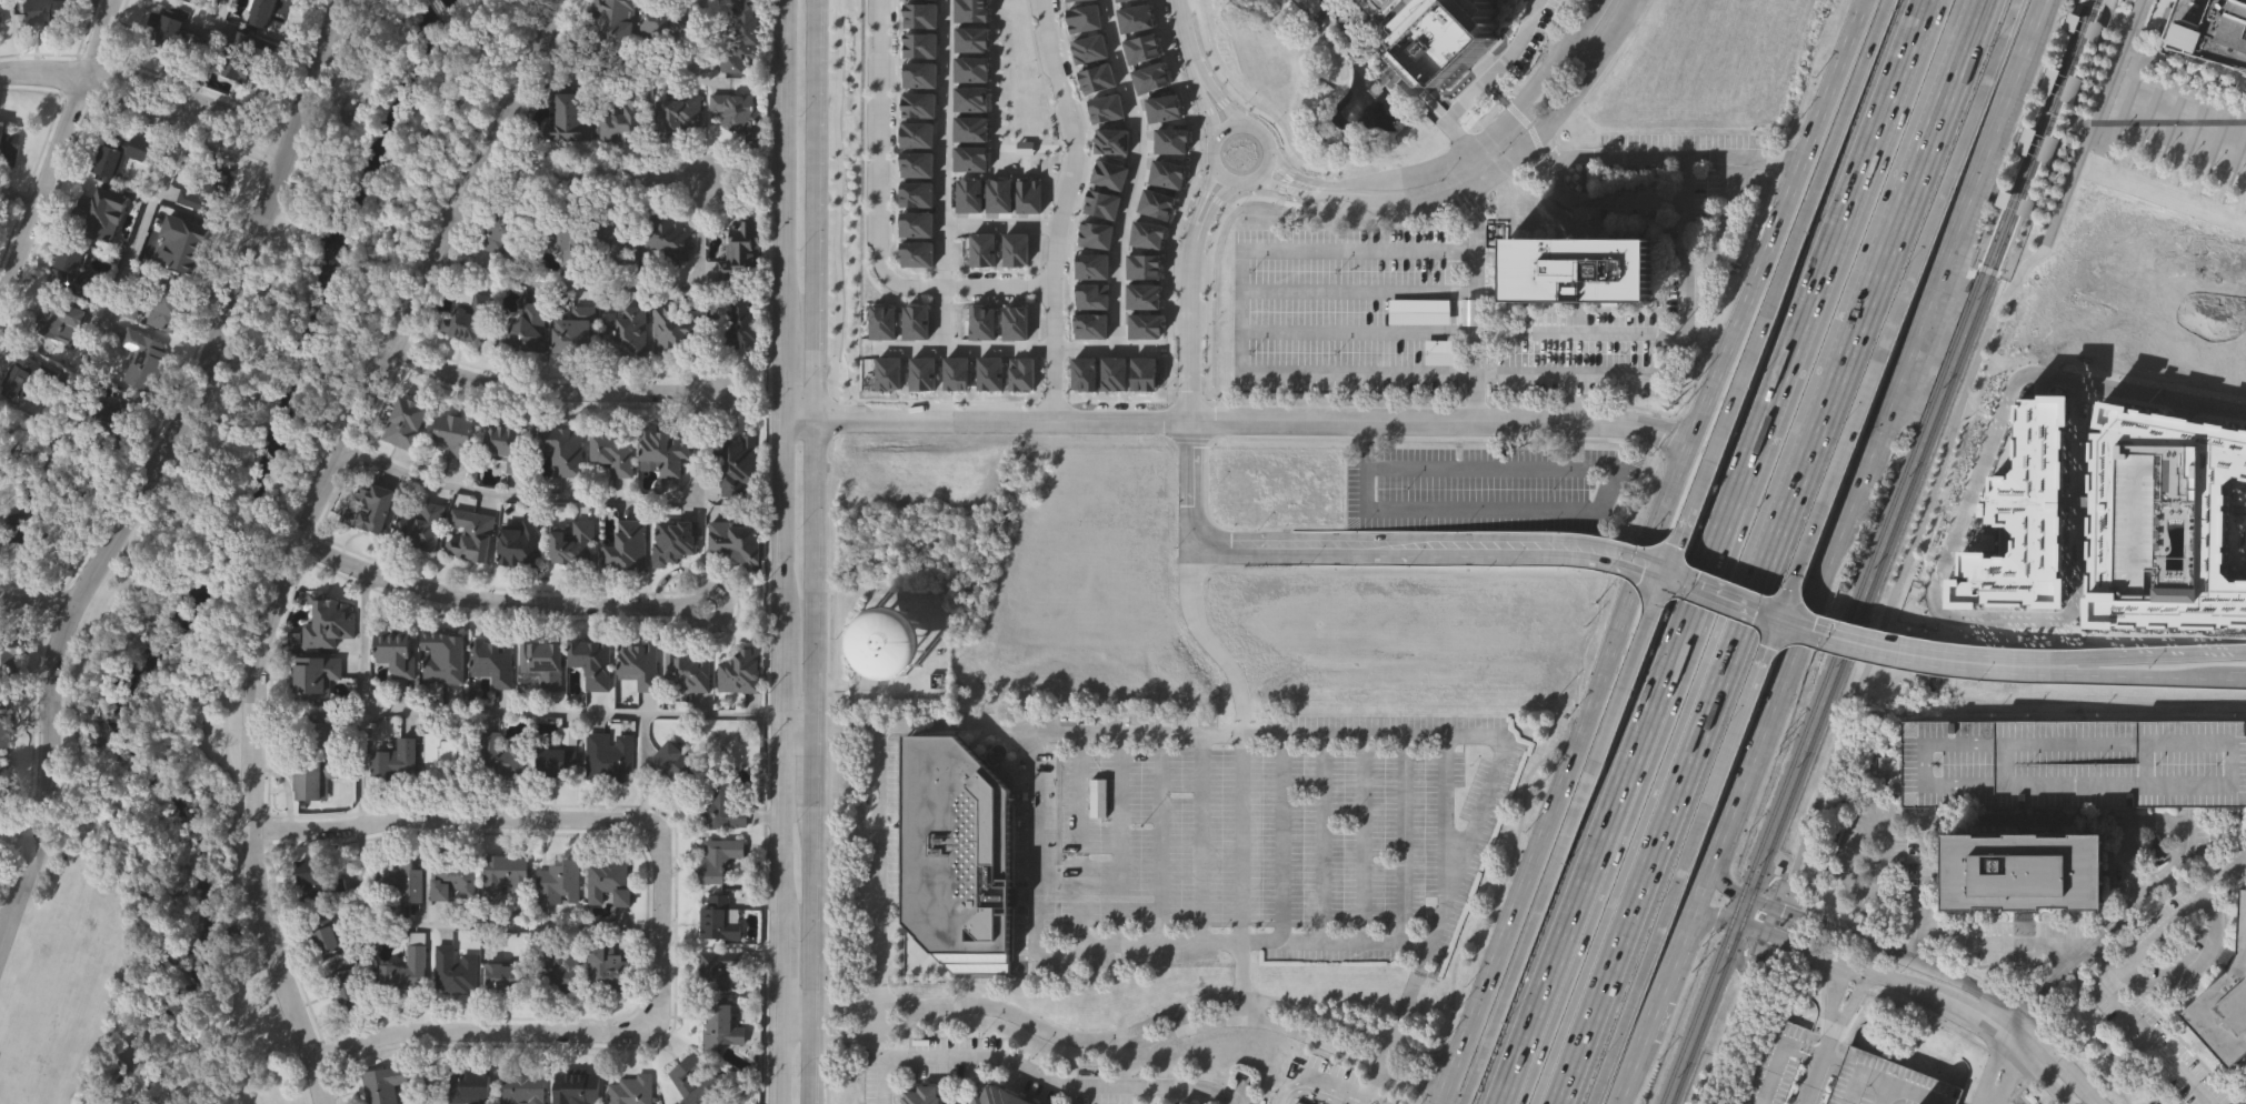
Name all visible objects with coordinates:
road: (436, 2)
building: (1375, 4)
parking garage: (1375, 4)
railway: (2066, 9)
building: (971, 10)
building: (43, 12)
building: (259, 12)
building: (920, 16)
building: (1082, 17)
railway: (2089, 20)
building: (616, 21)
building: (661, 22)
building: (0, 26)
building: (2210, 28)
building: (166, 30)
road: (455, 32)
building: (741, 36)
building: (1443, 36)
building: (972, 40)
road: (1189, 40)
building: (920, 46)
building: (1090, 49)
building: (244, 52)
road: (648, 64)
building: (971, 68)
road: (39, 70)
building: (919, 76)
road: (343, 78)
building: (1097, 79)
road: (1834, 79)
building: (2060, 86)
road: (1476, 89)
road: (186, 93)
building: (970, 98)
railway: (2048, 99)
building: (918, 103)
road: (1226, 103)
building: (1106, 108)
building: (572, 111)
road: (1211, 111)
building: (678, 113)
building: (740, 113)
road: (448, 117)
building: (622, 118)
road: (177, 119)
road: (2169, 121)
building: (970, 127)
building: (916, 133)
road: (1222, 133)
road: (1268, 139)
building: (8, 141)
road: (52, 141)
road: (880, 141)
building: (1111, 141)
road: (1080, 142)
road: (1548, 144)
building: (2038, 145)
building: (119, 149)
road: (1640, 153)
road: (1773, 154)
road: (1464, 155)
building: (970, 158)
building: (916, 162)
road: (944, 172)
road: (1139, 172)
road: (1225, 172)
road: (1483, 175)
road: (595, 179)
building: (915, 191)
building: (998, 194)
building: (1028, 195)
road: (16, 197)
building: (1102, 203)
building: (1156, 203)
building: (98, 205)
road: (787, 209)
road: (1929, 220)
railway: (2030, 220)
railway: (2030, 220)
road: (1002, 221)
building: (915, 222)
road: (1199, 224)
building: (508, 228)
building: (567, 233)
building: (1147, 233)
building: (615, 234)
building: (668, 235)
building: (741, 247)
building: (172, 249)
building: (981, 249)
building: (1016, 249)
road: (129, 253)
building: (916, 253)
road: (1475, 255)
road: (1786, 257)
building: (1142, 264)
building: (1092, 267)
building: (71, 270)
building: (1578, 274)
road: (617, 285)
road: (1819, 285)
road: (975, 287)
road: (1868, 289)
building: (1092, 295)
building: (1142, 295)
road: (1748, 299)
building: (164, 303)
road: (1244, 309)
parking lot: (1348, 312)
building: (1473, 315)
building: (469, 317)
building: (57, 319)
building: (881, 321)
building: (915, 322)
building: (1015, 322)
building: (981, 323)
road: (1190, 323)
building: (739, 328)
building: (671, 329)
building: (522, 330)
building: (573, 332)
road: (1576, 333)
road: (2223, 333)
building: (627, 334)
road: (1011, 347)
road: (1056, 353)
building: (141, 357)
parking lot: (1575, 367)
building: (888, 373)
building: (921, 373)
building: (956, 373)
building: (989, 373)
road: (1591, 374)
building: (1021, 375)
road: (1476, 375)
building: (20, 379)
road: (543, 391)
road: (2160, 398)
building: (119, 412)
road: (1586, 419)
road: (1129, 420)
building: (407, 422)
road: (1878, 428)
building: (453, 438)
building: (3, 439)
building: (508, 449)
building: (561, 452)
building: (610, 452)
building: (660, 453)
road: (157, 465)
building: (735, 465)
parking lot: (1487, 486)
road: (567, 499)
building: (370, 506)
road: (1591, 513)
road: (1191, 525)
building: (420, 528)
road: (1807, 529)
road: (298, 530)
building: (24, 534)
building: (736, 535)
building: (472, 536)
building: (676, 539)
building: (522, 540)
road: (267, 542)
building: (575, 542)
building: (628, 543)
road: (1674, 544)
road: (1477, 548)
road: (1910, 550)
road: (812, 551)
railway: (1876, 571)
traffic signals: (1663, 574)
park: (230, 591)
road: (1718, 595)
road: (37, 599)
road: (493, 600)
road: (1959, 605)
traffic signals: (1774, 618)
building: (327, 624)
building: (890, 643)
water tower: (890, 644)
railway: (1835, 650)
building: (395, 653)
building: (442, 653)
road: (1760, 653)
road: (1909, 655)
road: (2147, 655)
building: (8, 659)
building: (491, 660)
building: (591, 661)
building: (638, 661)
building: (542, 662)
street lamp: (2148, 665)
building: (738, 669)
building: (688, 672)
building: (315, 676)
road: (2137, 676)
road: (2236, 678)
road: (362, 699)
road: (587, 712)
road: (926, 721)
building: (321, 726)
building: (4, 727)
road: (1134, 734)
road: (1476, 735)
building: (442, 751)
building: (501, 755)
building: (556, 756)
building: (393, 757)
building: (609, 757)
road: (781, 760)
building: (2074, 761)
parking garage: (2074, 761)
building: (673, 762)
road: (1232, 766)
building: (0, 769)
road: (642, 769)
road: (1567, 772)
building: (311, 777)
building: (723, 799)
road: (1903, 819)
road: (1437, 829)
parking lot: (1265, 834)
road: (1564, 834)
road: (1606, 836)
road: (1635, 836)
road: (1114, 839)
road: (1154, 839)
road: (1194, 839)
road: (1315, 839)
road: (1356, 839)
road: (1396, 839)
road: (1620, 839)
road: (1275, 840)
road: (1658, 842)
road: (1075, 843)
road: (13, 847)
building: (954, 852)
building: (719, 860)
road: (1925, 865)
road: (875, 867)
building: (2024, 869)
building: (451, 875)
building: (505, 875)
building: (316, 879)
building: (403, 879)
building: (558, 880)
building: (609, 880)
road: (2153, 882)
road: (1669, 896)
road: (659, 900)
building: (721, 915)
road: (2174, 920)
road: (467, 923)
building: (325, 931)
road: (1983, 943)
road: (1126, 944)
road: (1819, 954)
road: (2187, 961)
road: (1916, 962)
building: (721, 965)
building: (453, 970)
building: (556, 970)
building: (405, 971)
building: (607, 971)
road: (1853, 971)
road: (1973, 971)
building: (512, 975)
road: (2104, 977)
road: (1666, 980)
building: (349, 987)
road: (1831, 991)
building: (2225, 996)
road: (1849, 1000)
road: (1289, 1004)
road: (1397, 1005)
road: (1907, 1005)
road: (916, 1011)
road: (797, 1012)
road: (1979, 1016)
building: (721, 1023)
road: (1289, 1028)
road: (1069, 1041)
road: (1815, 1062)
road: (422, 1066)
road: (2045, 1067)
road: (1997, 1071)
road: (1038, 1077)
building: (697, 1080)
road: (2137, 1080)
building: (383, 1083)
road: (1885, 1083)
building: (1887, 1083)
road: (1368, 1084)
building: (467, 1085)
building: (523, 1086)
building: (577, 1086)
road: (1311, 1087)
building: (631, 1088)
road: (1881, 1094)
building: (919, 1095)
building: (999, 1096)
road: (1988, 1097)
road: (1463, 1098)
building: (1181, 1102)

